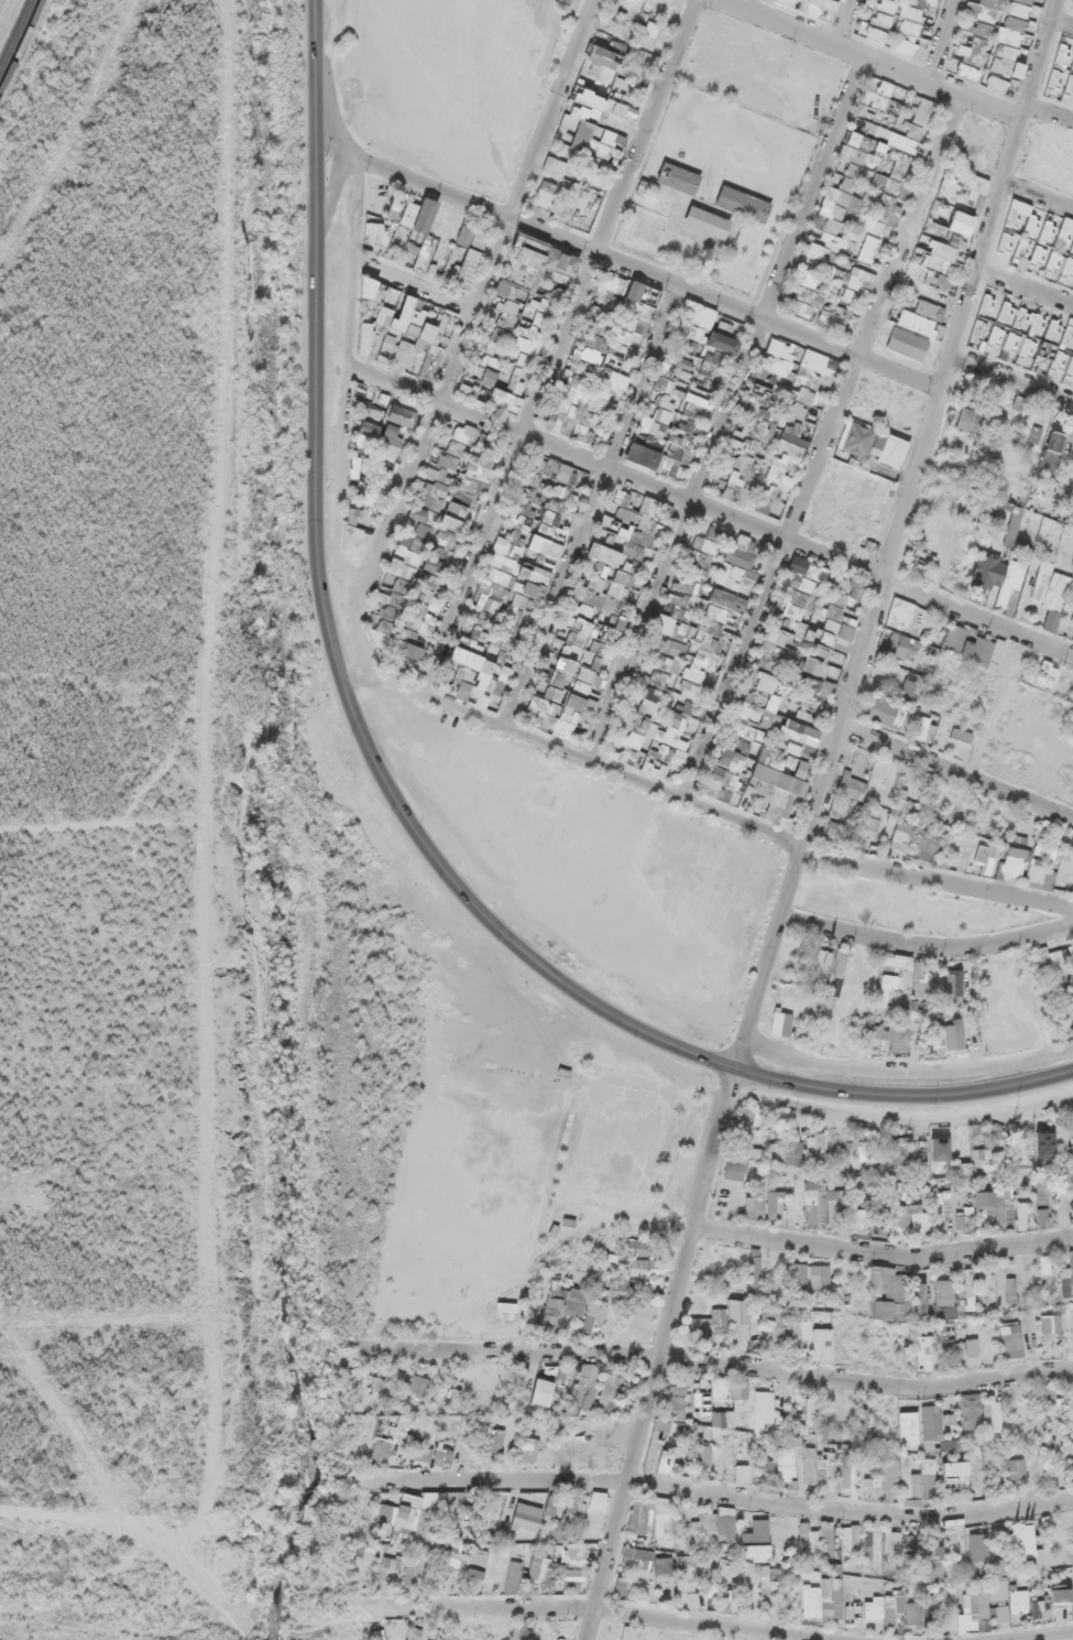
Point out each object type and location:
road: (384, 789)

